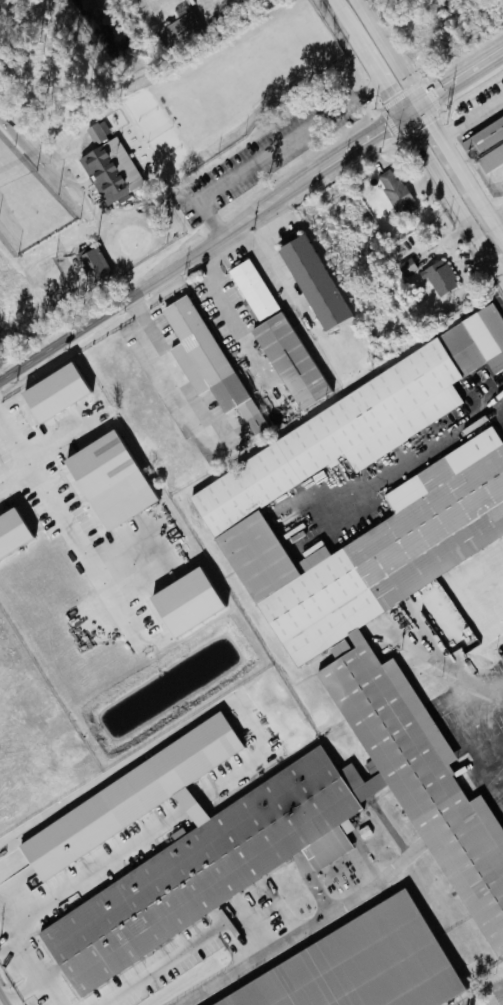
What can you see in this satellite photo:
road: (206, 3)
building: (175, 31)
road: (389, 53)
road: (364, 60)
road: (463, 81)
traffic signals: (438, 97)
traffic signals: (392, 106)
road: (412, 114)
traffic signals: (436, 128)
road: (457, 130)
building: (95, 132)
traffic signals: (387, 132)
building: (481, 135)
park: (161, 150)
road: (270, 152)
road: (353, 153)
road: (456, 161)
building: (108, 172)
road: (497, 186)
building: (393, 192)
road: (452, 201)
road: (264, 210)
road: (498, 218)
road: (496, 225)
road: (213, 244)
building: (89, 264)
building: (405, 268)
building: (438, 277)
building: (309, 282)
road: (234, 313)
road: (101, 315)
building: (275, 339)
road: (167, 358)
building: (202, 359)
building: (49, 393)
road: (423, 453)
building: (104, 480)
road: (64, 516)
building: (9, 532)
building: (181, 603)
road: (476, 693)
road: (182, 726)
road: (485, 739)
building: (133, 794)
road: (196, 809)
building: (201, 870)
road: (100, 871)
road: (323, 916)
road: (194, 943)
road: (32, 964)
building: (361, 964)
road: (226, 977)
road: (49, 990)
road: (1, 1001)

